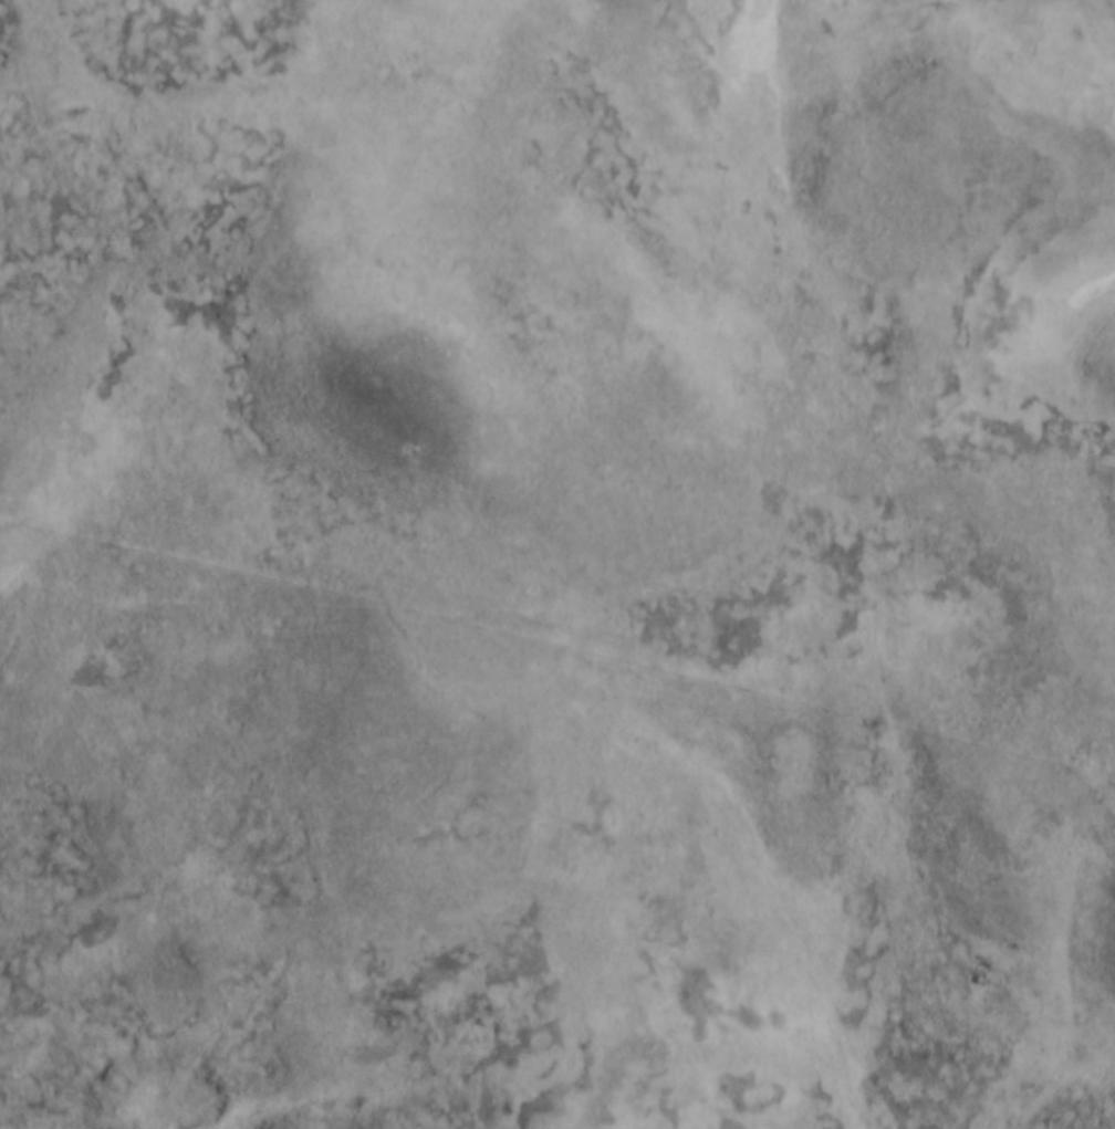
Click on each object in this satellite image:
building: (989, 971)

